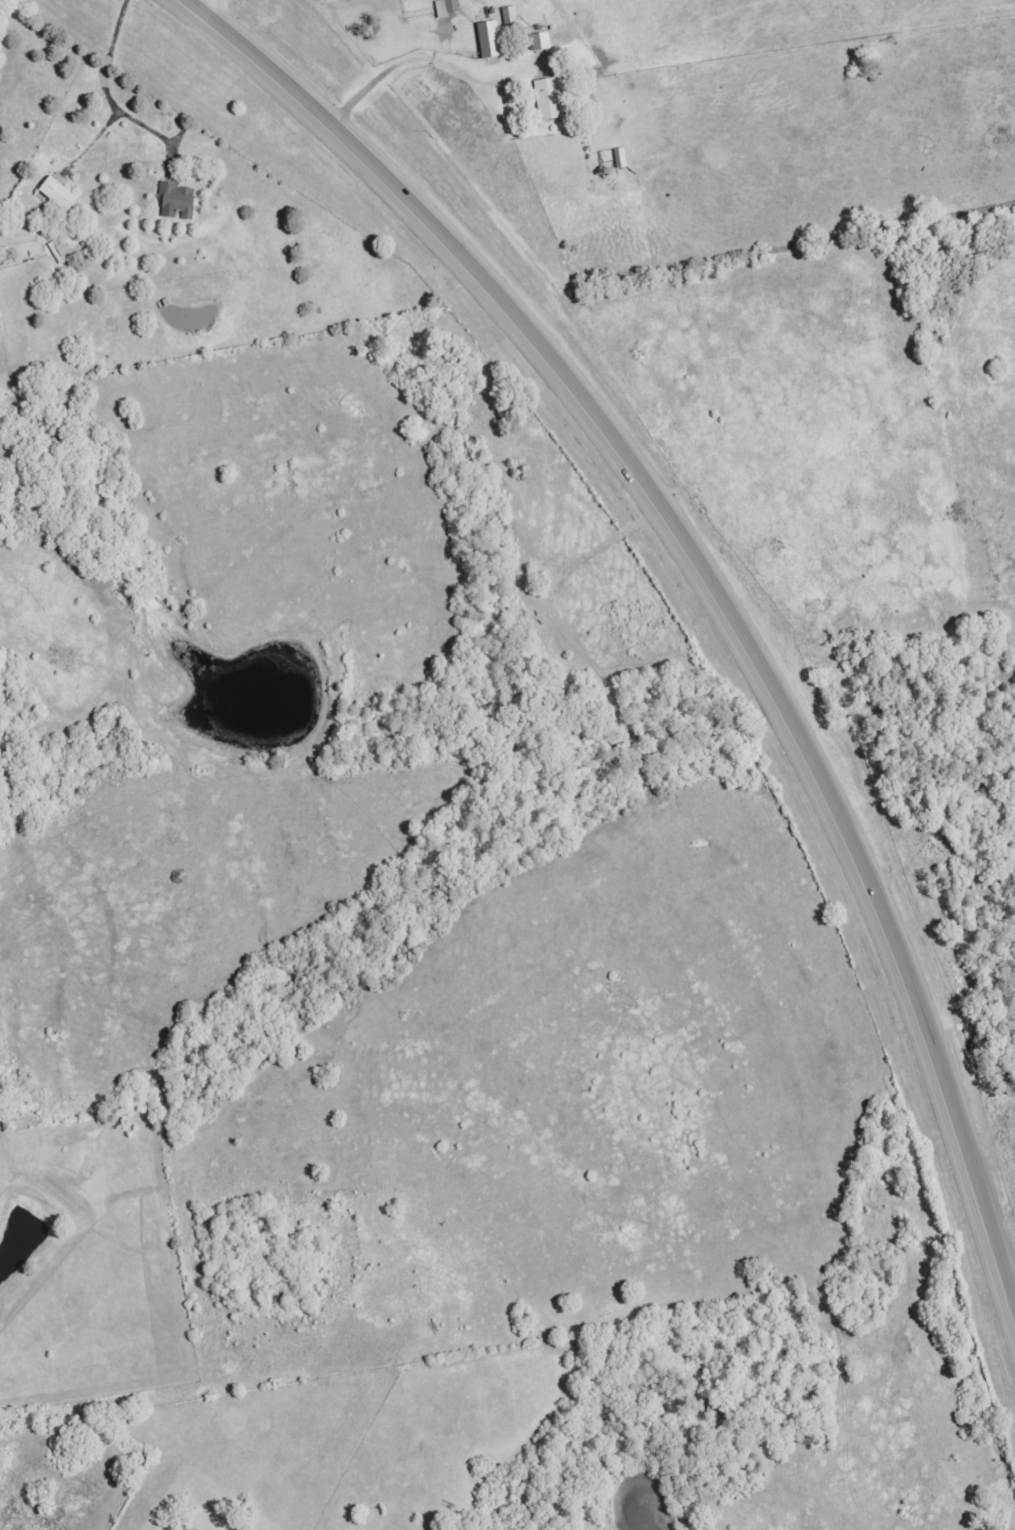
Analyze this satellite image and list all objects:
building: (448, 8)
road: (200, 9)
building: (511, 17)
building: (490, 41)
building: (542, 42)
road: (406, 62)
road: (104, 88)
building: (551, 99)
building: (621, 159)
building: (59, 195)
building: (178, 202)
road: (706, 586)

